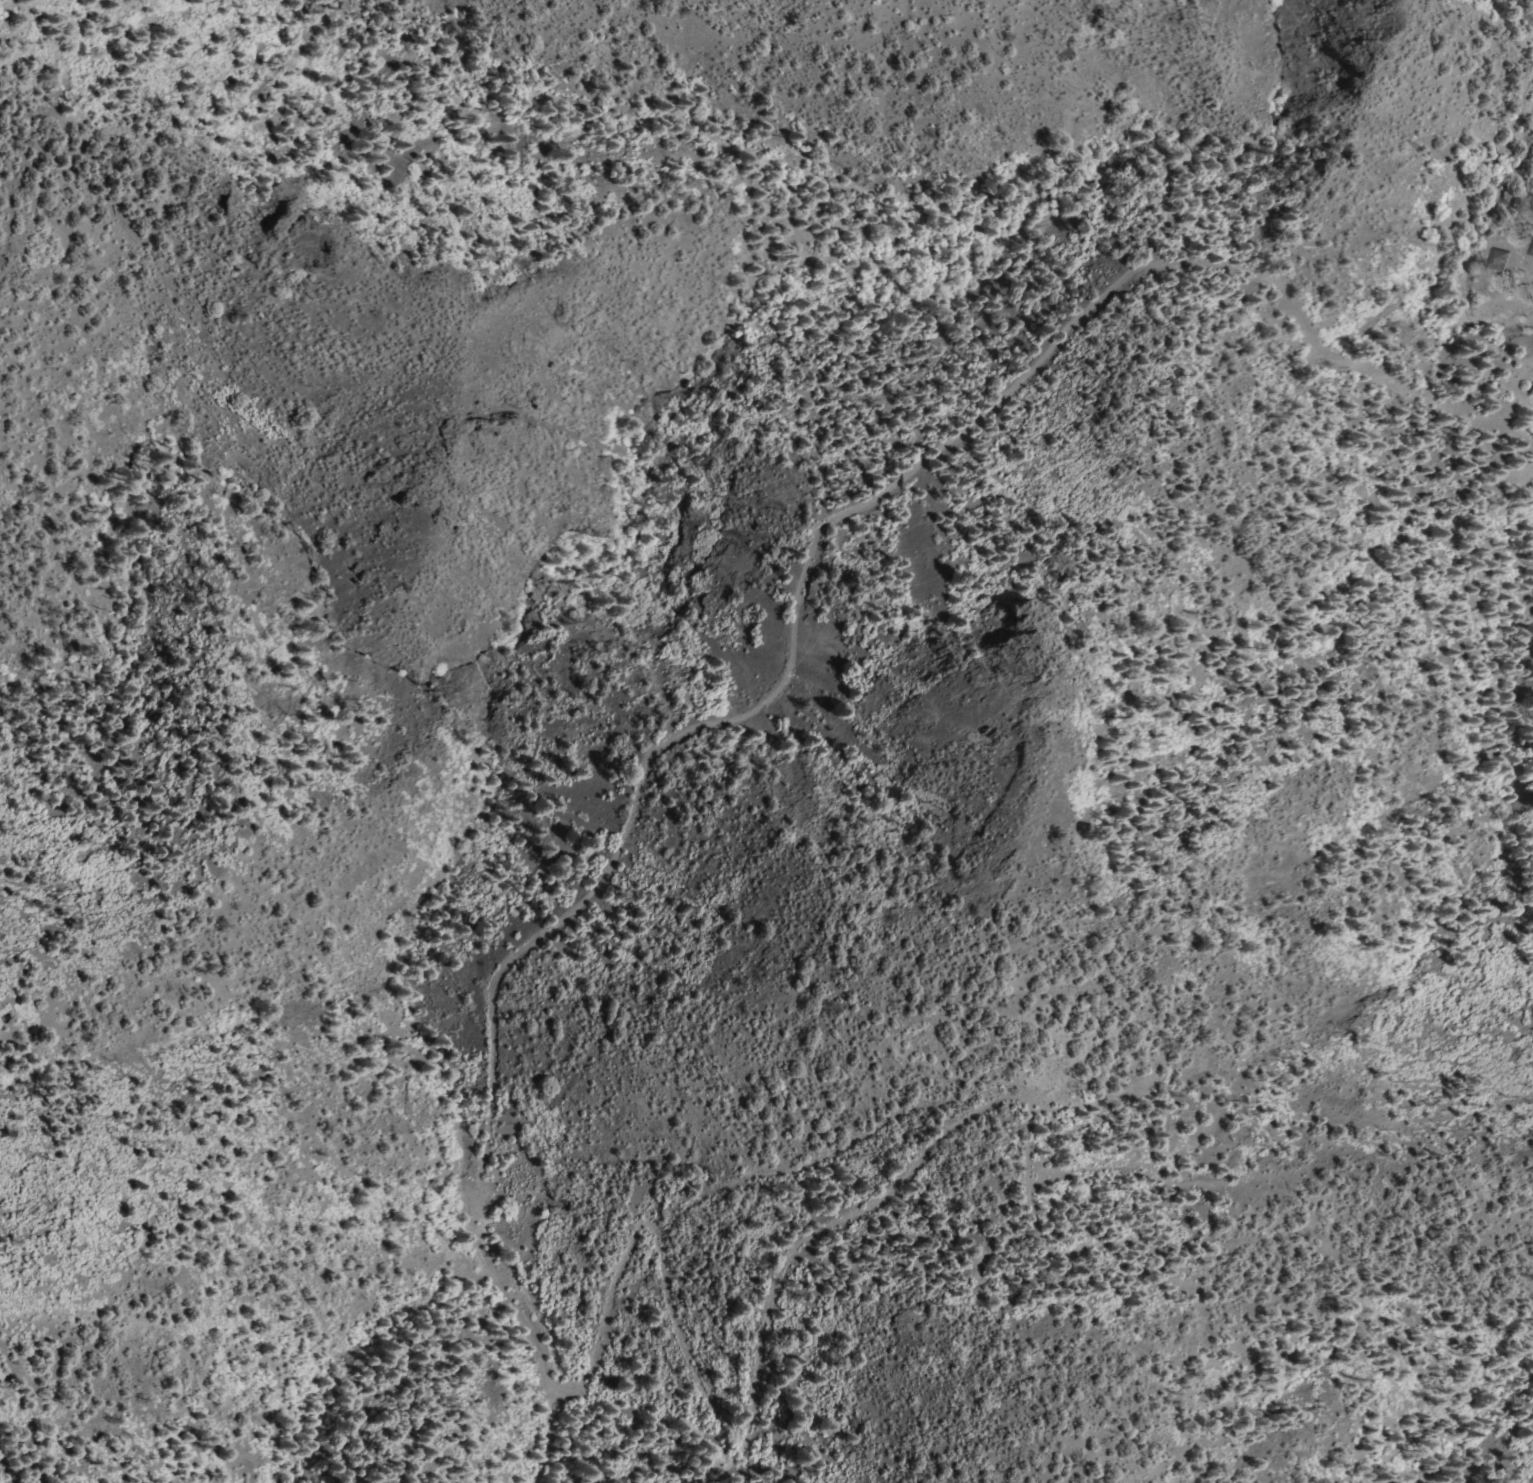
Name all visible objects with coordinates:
road: (865, 145)
building: (1528, 248)
building: (1495, 259)
road: (1528, 271)
road: (495, 978)
road: (1172, 1276)

